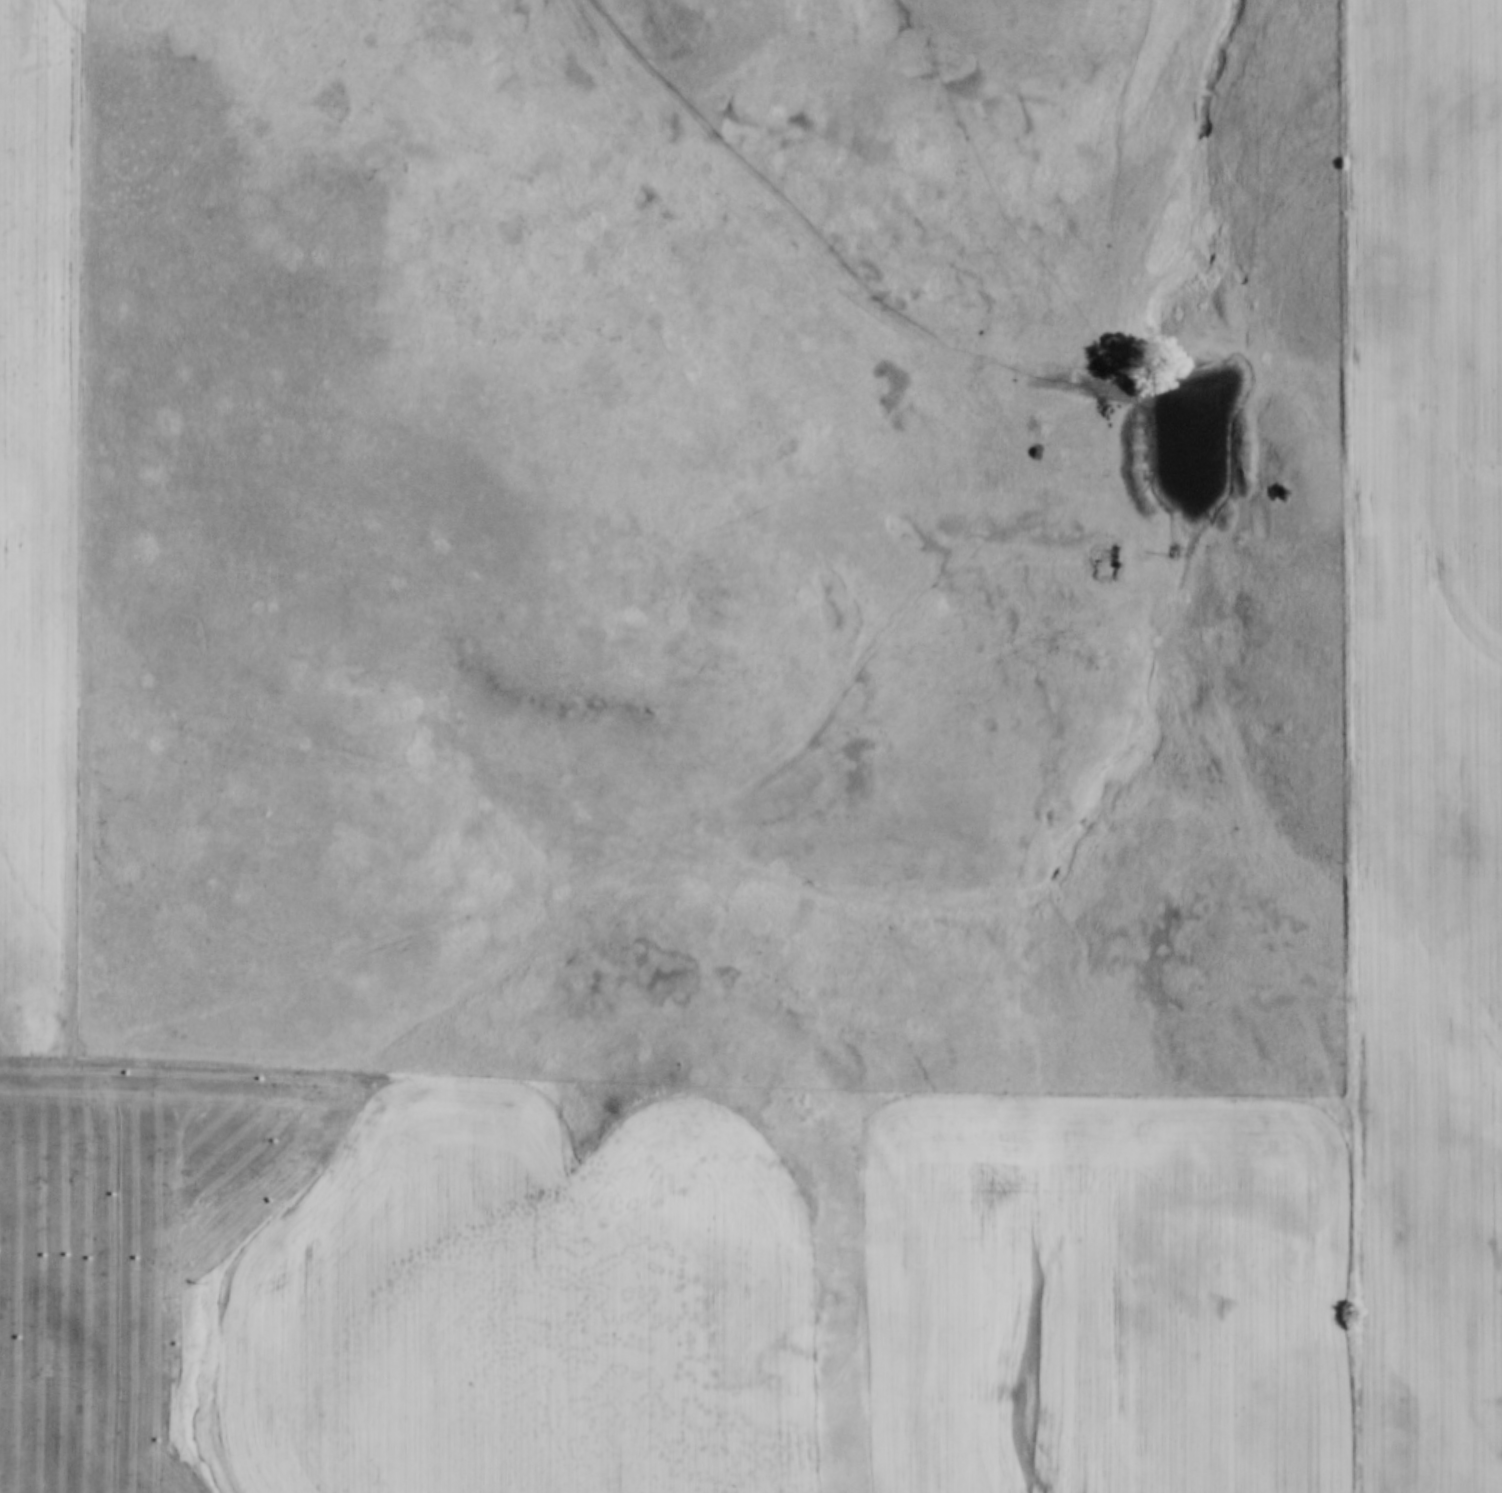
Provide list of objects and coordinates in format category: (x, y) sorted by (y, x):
road: (742, 160)
road: (77, 528)

